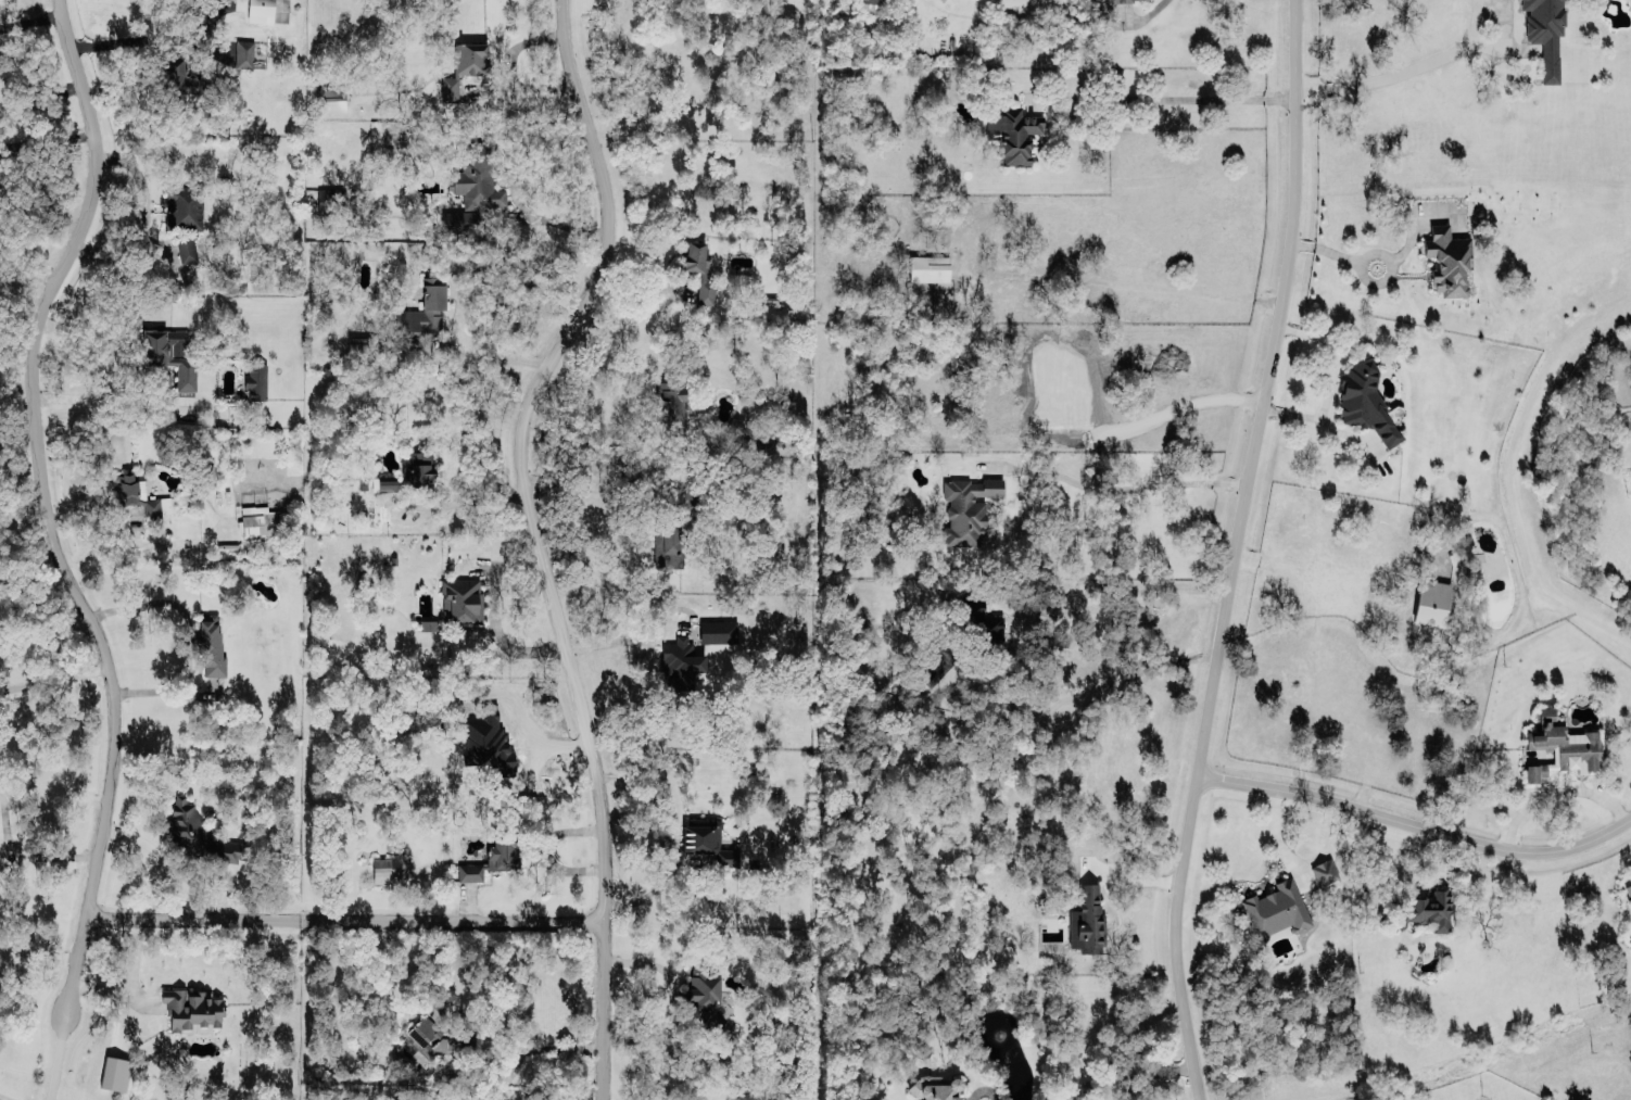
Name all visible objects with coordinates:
building: (872, 0)
building: (1136, 0)
building: (260, 10)
road: (33, 16)
building: (1544, 31)
road: (152, 38)
building: (243, 52)
building: (464, 65)
road: (506, 68)
road: (1404, 68)
building: (176, 72)
road: (1173, 97)
building: (328, 98)
building: (1012, 131)
road: (48, 137)
building: (472, 188)
road: (509, 192)
building: (329, 199)
road: (142, 201)
building: (182, 204)
building: (186, 249)
building: (1446, 260)
road: (1370, 265)
building: (697, 267)
building: (928, 267)
road: (28, 270)
road: (1147, 286)
road: (637, 289)
building: (420, 312)
building: (169, 353)
road: (466, 355)
road: (119, 359)
building: (255, 380)
road: (1330, 382)
road: (1270, 388)
building: (1364, 397)
building: (670, 406)
road: (578, 437)
building: (412, 471)
road: (585, 484)
road: (1131, 486)
road: (469, 496)
road: (50, 507)
building: (966, 507)
building: (268, 524)
road: (535, 541)
building: (666, 543)
road: (1116, 594)
building: (462, 598)
building: (1430, 600)
road: (493, 616)
building: (717, 630)
building: (986, 632)
road: (614, 640)
building: (210, 645)
building: (679, 662)
road: (56, 677)
building: (1562, 744)
road: (1557, 789)
road: (1418, 813)
road: (665, 831)
road: (1277, 835)
building: (707, 839)
building: (232, 849)
road: (55, 854)
building: (492, 857)
building: (384, 869)
building: (1324, 870)
building: (1628, 892)
building: (1276, 908)
building: (1425, 909)
road: (345, 914)
building: (1086, 920)
road: (1176, 936)
road: (39, 950)
road: (128, 976)
building: (704, 996)
road: (672, 1000)
building: (191, 1009)
building: (439, 1035)
road: (515, 1041)
road: (56, 1057)
building: (114, 1072)
road: (1128, 1074)
building: (935, 1087)

